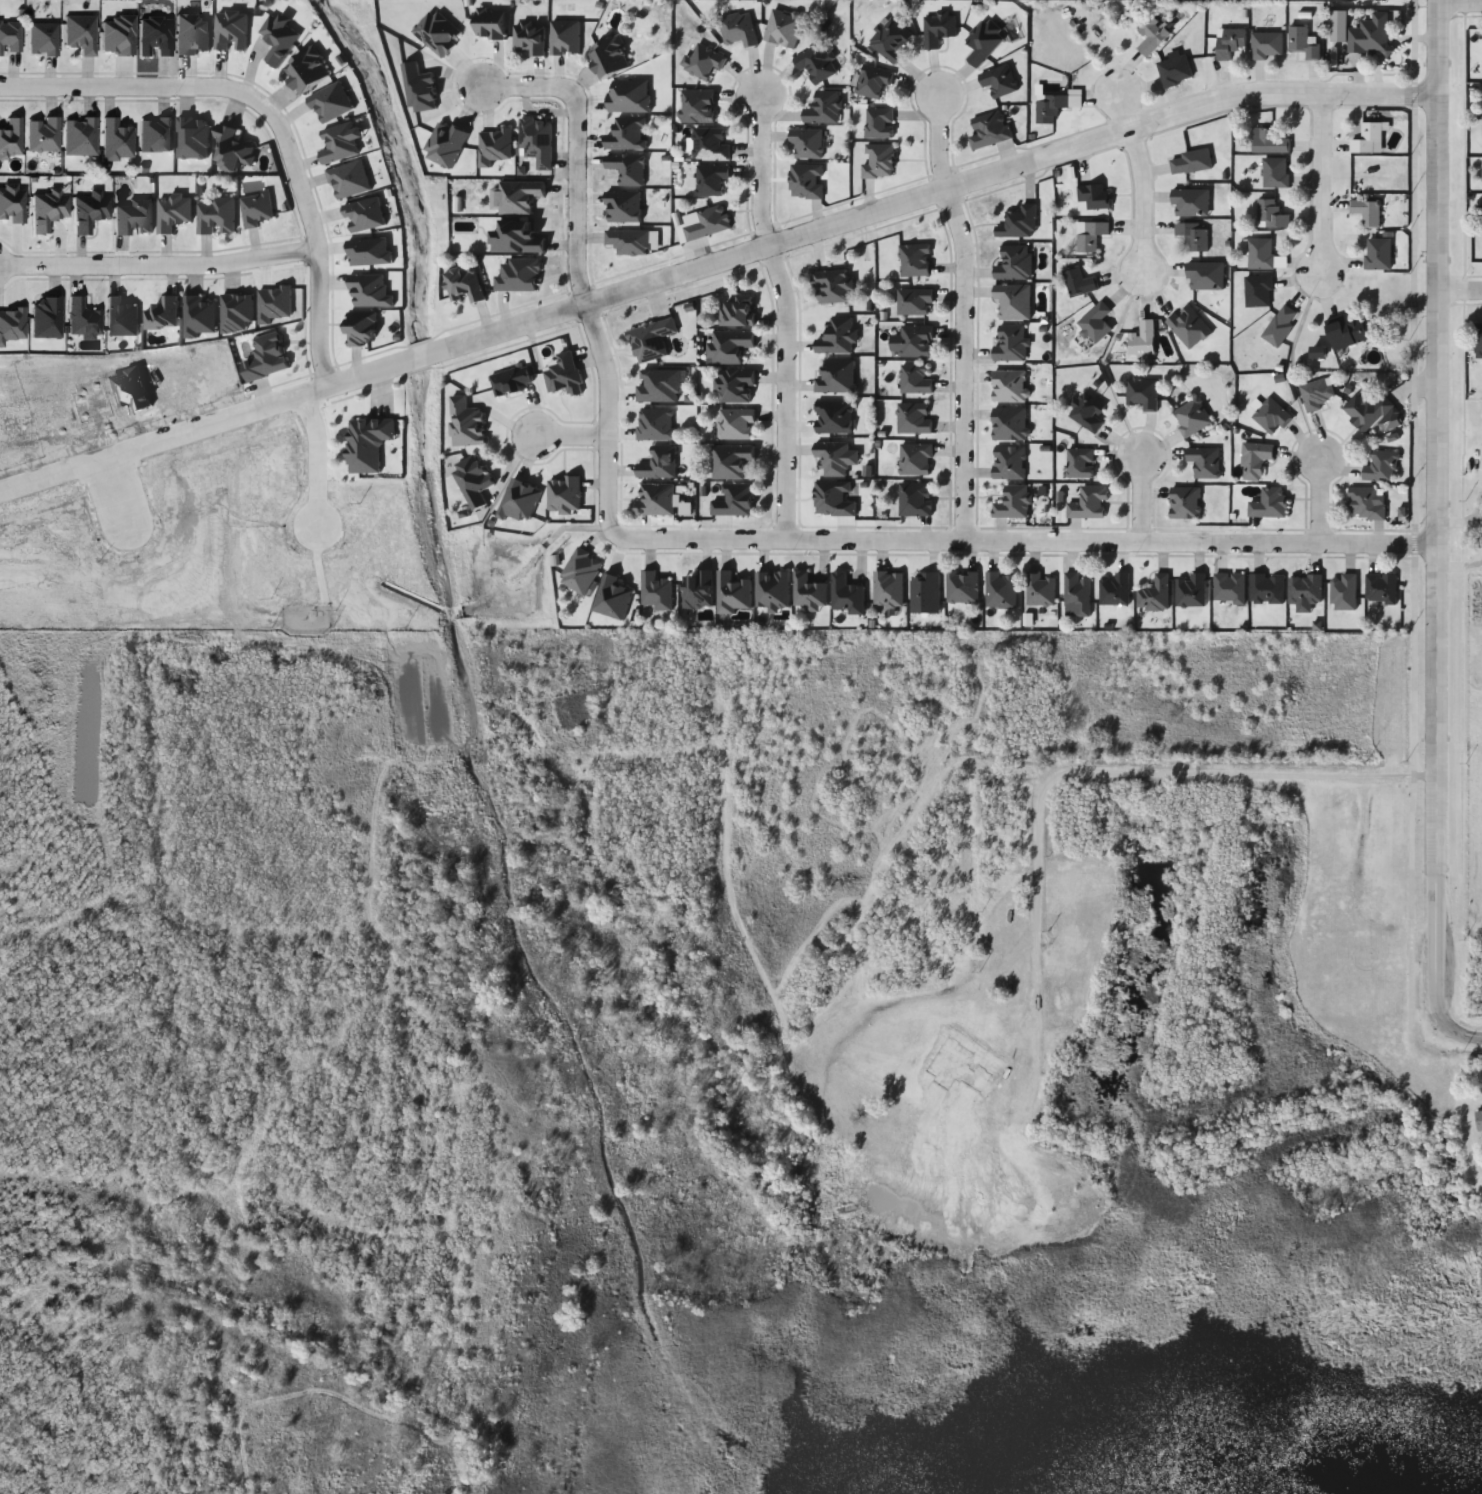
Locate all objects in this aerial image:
road: (1460, 5)
building: (490, 24)
building: (783, 28)
building: (737, 29)
building: (937, 29)
building: (79, 33)
building: (565, 36)
building: (1152, 36)
building: (1371, 36)
building: (10, 37)
building: (43, 38)
building: (278, 39)
building: (890, 40)
building: (530, 41)
building: (984, 41)
building: (1230, 42)
building: (1302, 43)
building: (1267, 46)
building: (611, 55)
building: (703, 61)
building: (816, 63)
building: (1174, 70)
building: (308, 71)
building: (872, 81)
building: (999, 81)
building: (420, 89)
building: (331, 104)
building: (1056, 105)
building: (698, 106)
building: (823, 109)
road: (267, 116)
building: (879, 123)
building: (989, 130)
building: (626, 131)
building: (43, 134)
building: (155, 134)
building: (79, 136)
building: (10, 137)
building: (192, 138)
road: (937, 139)
building: (116, 140)
building: (1369, 140)
building: (1268, 142)
building: (341, 143)
building: (710, 143)
building: (806, 143)
building: (535, 145)
building: (233, 150)
road: (572, 151)
building: (879, 161)
building: (1191, 162)
building: (625, 171)
road: (761, 173)
building: (1275, 173)
road: (1140, 176)
building: (349, 179)
building: (711, 179)
building: (806, 181)
road: (1317, 186)
building: (520, 197)
building: (1093, 198)
building: (12, 203)
building: (1190, 203)
building: (623, 208)
building: (48, 209)
building: (90, 210)
building: (1367, 212)
building: (1272, 213)
building: (134, 216)
building: (216, 216)
building: (1021, 221)
road: (848, 222)
building: (709, 223)
building: (1192, 235)
building: (517, 236)
building: (1090, 236)
building: (628, 242)
building: (1261, 254)
building: (1378, 254)
building: (915, 261)
road: (158, 263)
building: (1014, 263)
building: (518, 275)
building: (1205, 276)
building: (1078, 282)
building: (464, 285)
building: (832, 287)
building: (1258, 291)
road: (1459, 291)
building: (914, 301)
building: (1013, 302)
building: (737, 312)
building: (237, 313)
building: (162, 314)
building: (121, 317)
building: (198, 317)
building: (82, 319)
building: (1095, 323)
building: (1280, 326)
building: (1188, 328)
building: (363, 329)
building: (1349, 331)
building: (837, 337)
building: (1478, 338)
building: (1142, 339)
building: (651, 340)
building: (916, 341)
building: (1010, 344)
building: (729, 347)
building: (260, 354)
road: (968, 363)
building: (564, 376)
building: (836, 378)
building: (915, 380)
building: (510, 381)
building: (659, 386)
building: (735, 386)
building: (1010, 387)
road: (781, 391)
building: (1142, 394)
building: (1315, 395)
building: (1087, 411)
building: (1372, 413)
building: (1271, 416)
building: (1192, 417)
building: (834, 418)
building: (914, 419)
building: (466, 424)
building: (655, 424)
building: (735, 425)
building: (1009, 425)
road: (565, 437)
building: (368, 443)
building: (836, 457)
building: (915, 459)
building: (1255, 459)
building: (731, 460)
building: (1204, 462)
building: (658, 463)
building: (1008, 463)
building: (1079, 463)
building: (1381, 467)
building: (473, 482)
building: (564, 495)
road: (1137, 495)
building: (834, 498)
road: (1321, 498)
building: (656, 499)
building: (735, 500)
building: (915, 500)
building: (519, 502)
building: (1013, 503)
building: (1088, 503)
building: (1185, 503)
building: (1270, 503)
building: (1367, 503)
road: (1434, 505)
road: (905, 538)
building: (581, 572)
building: (962, 587)
building: (1229, 588)
building: (888, 589)
building: (1266, 589)
building: (699, 590)
building: (772, 590)
building: (1041, 590)
building: (1114, 590)
building: (1304, 590)
building: (1380, 590)
building: (1000, 591)
building: (1191, 591)
building: (808, 592)
building: (655, 593)
building: (732, 593)
building: (924, 593)
building: (1343, 593)
building: (1154, 595)
building: (846, 596)
building: (1076, 596)
building: (612, 599)
building: (1317, 918)
building: (1061, 997)
road: (1453, 1031)
building: (1479, 1120)

